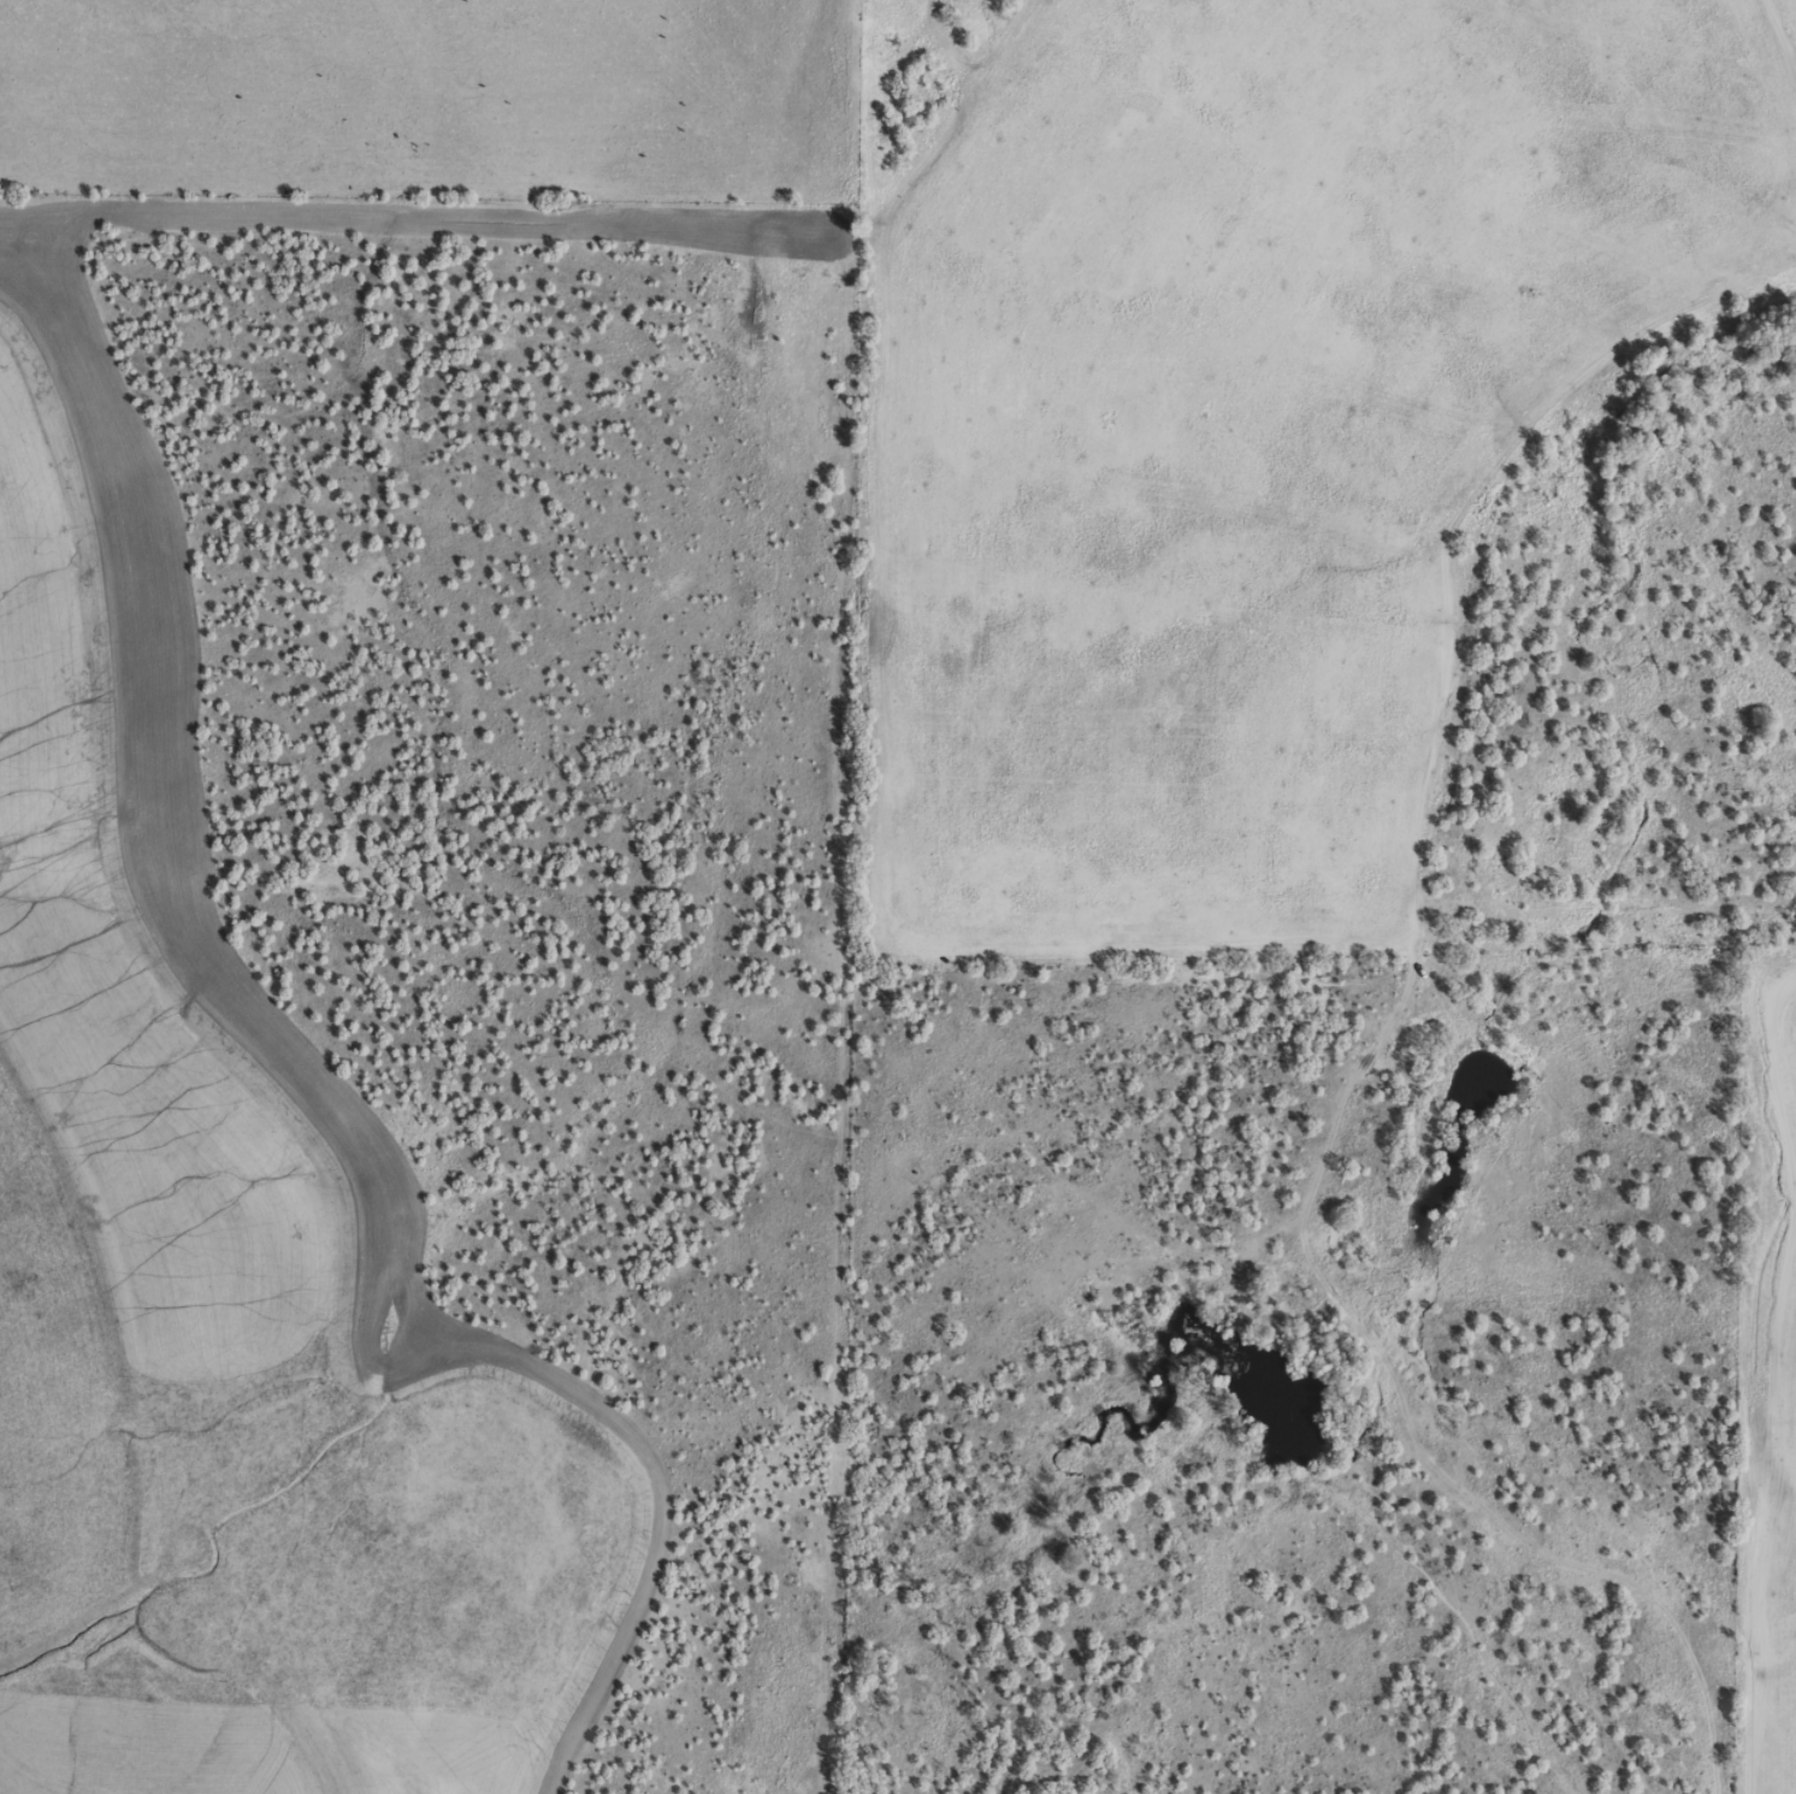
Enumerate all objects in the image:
road: (1776, 60)

